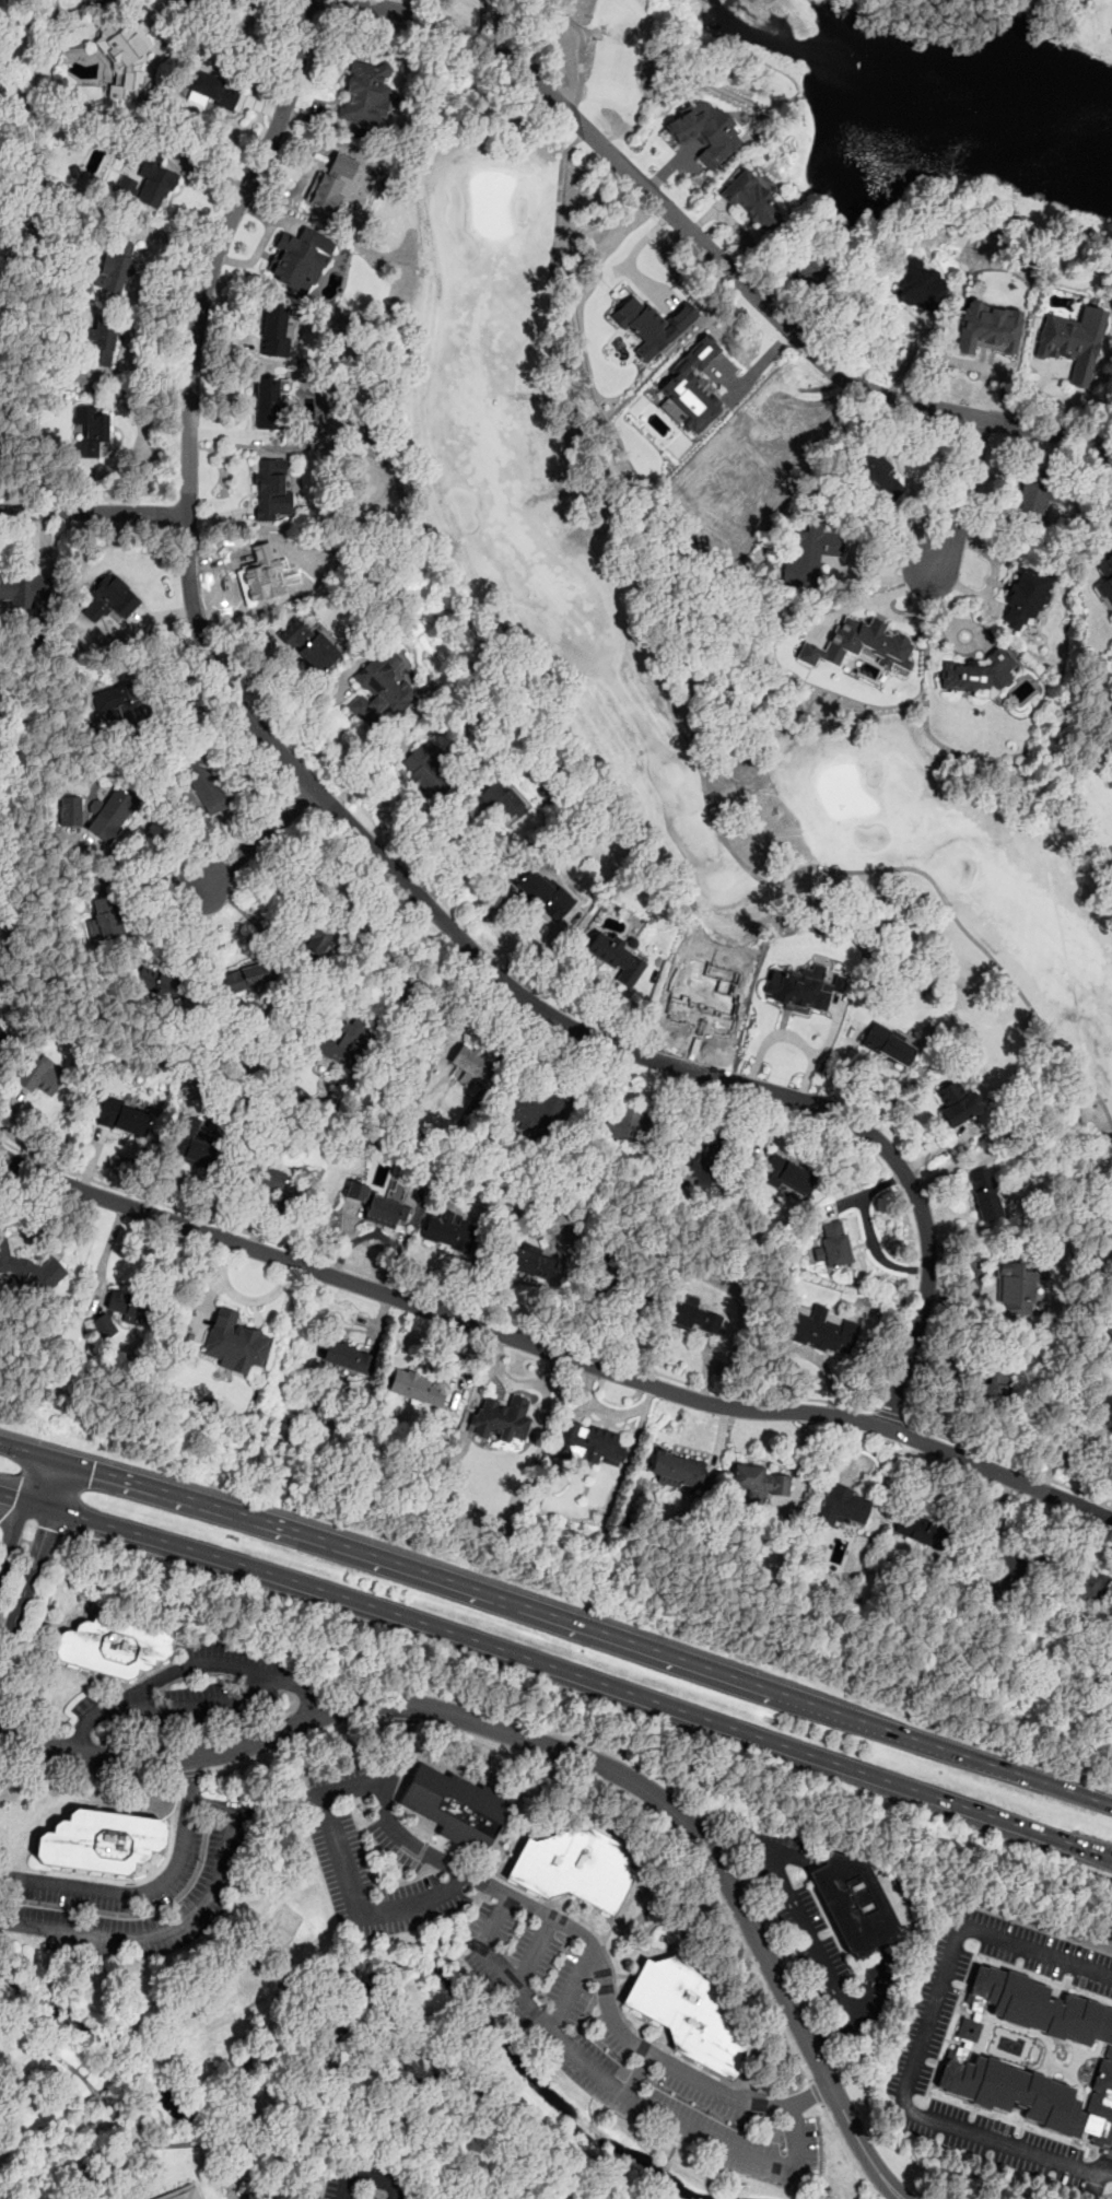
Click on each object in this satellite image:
road: (197, 0)
road: (558, 7)
road: (580, 48)
building: (124, 55)
building: (212, 91)
building: (366, 94)
park: (930, 105)
road: (576, 120)
building: (703, 131)
building: (148, 184)
building: (328, 194)
building: (751, 199)
road: (166, 237)
road: (709, 249)
building: (300, 258)
building: (114, 266)
building: (917, 285)
building: (651, 326)
building: (988, 328)
building: (276, 330)
building: (1073, 341)
building: (102, 343)
building: (691, 389)
building: (268, 402)
building: (90, 436)
road: (231, 436)
building: (883, 478)
building: (271, 488)
road: (964, 498)
building: (1033, 498)
road: (94, 512)
building: (809, 553)
park: (550, 570)
road: (881, 577)
building: (1105, 577)
building: (25, 589)
building: (115, 595)
building: (1025, 598)
building: (861, 644)
building: (313, 645)
building: (980, 672)
building: (378, 690)
building: (124, 705)
road: (321, 705)
road: (688, 744)
building: (430, 768)
building: (204, 783)
building: (498, 800)
building: (71, 810)
building: (112, 815)
road: (260, 837)
road: (364, 838)
road: (454, 855)
road: (154, 868)
building: (543, 893)
building: (106, 915)
road: (250, 917)
building: (309, 934)
road: (206, 938)
building: (616, 958)
road: (415, 971)
building: (243, 976)
building: (160, 984)
building: (800, 989)
building: (2, 1034)
building: (339, 1044)
building: (889, 1045)
building: (465, 1068)
building: (39, 1076)
building: (955, 1100)
building: (530, 1112)
building: (122, 1116)
building: (622, 1123)
building: (194, 1142)
building: (701, 1157)
building: (787, 1174)
building: (265, 1177)
building: (984, 1194)
building: (379, 1198)
building: (452, 1231)
building: (832, 1244)
building: (526, 1263)
building: (618, 1264)
building: (28, 1270)
building: (1016, 1288)
road: (432, 1298)
building: (126, 1307)
building: (695, 1318)
building: (822, 1329)
building: (1110, 1330)
building: (234, 1342)
road: (552, 1350)
building: (347, 1358)
building: (987, 1387)
building: (413, 1388)
road: (889, 1412)
building: (503, 1419)
building: (588, 1442)
road: (1072, 1452)
road: (1006, 1462)
building: (677, 1470)
traffic signals: (93, 1474)
building: (760, 1481)
traffic signals: (15, 1498)
building: (842, 1505)
traffic signals: (33, 1524)
building: (924, 1533)
road: (27, 1540)
building: (1014, 1569)
building: (1089, 1586)
road: (558, 1619)
building: (115, 1644)
road: (191, 1666)
road: (559, 1666)
road: (313, 1703)
road: (200, 1706)
road: (407, 1720)
road: (81, 1736)
road: (297, 1741)
road: (400, 1745)
road: (559, 1752)
road: (87, 1770)
road: (191, 1773)
road: (192, 1779)
building: (454, 1806)
road: (235, 1817)
road: (676, 1835)
building: (100, 1840)
road: (411, 1841)
road: (734, 1841)
building: (576, 1867)
building: (854, 1902)
road: (794, 1906)
road: (536, 1951)
road: (869, 1982)
road: (574, 1990)
building: (682, 2009)
building: (969, 2030)
road: (834, 2035)
road: (921, 2050)
building: (1109, 2056)
road: (338, 2067)
road: (687, 2073)
road: (640, 2075)
road: (80, 2078)
road: (816, 2093)
road: (811, 2097)
road: (848, 2152)
road: (365, 2177)
building: (184, 2194)

